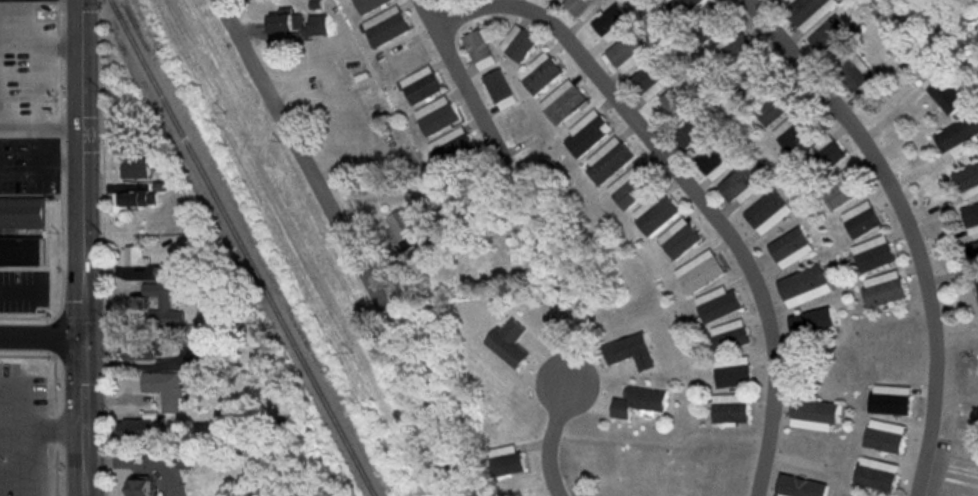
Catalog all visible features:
building: (781, 1)
road: (21, 3)
building: (367, 5)
road: (11, 6)
building: (682, 6)
building: (582, 8)
building: (810, 11)
building: (284, 23)
building: (611, 23)
building: (709, 23)
building: (384, 26)
building: (831, 38)
road: (60, 41)
building: (517, 44)
building: (732, 48)
building: (478, 50)
building: (628, 52)
road: (38, 63)
road: (456, 69)
building: (752, 73)
building: (539, 74)
building: (852, 74)
building: (651, 79)
building: (419, 85)
building: (498, 90)
building: (945, 94)
building: (680, 99)
building: (775, 102)
building: (563, 103)
building: (435, 117)
road: (41, 123)
building: (797, 128)
building: (695, 132)
building: (586, 133)
building: (957, 133)
road: (295, 139)
road: (39, 146)
building: (450, 149)
building: (821, 157)
building: (718, 158)
building: (608, 163)
road: (42, 167)
building: (134, 168)
building: (967, 180)
building: (741, 182)
road: (688, 184)
building: (631, 187)
building: (842, 189)
building: (135, 200)
building: (767, 212)
building: (654, 213)
building: (21, 214)
building: (971, 219)
building: (861, 220)
road: (910, 224)
building: (408, 238)
building: (678, 239)
road: (82, 247)
railway: (242, 248)
building: (790, 248)
building: (20, 251)
building: (873, 254)
building: (974, 254)
building: (134, 256)
building: (161, 272)
building: (699, 272)
building: (976, 285)
building: (803, 287)
building: (883, 290)
building: (161, 297)
building: (717, 305)
building: (810, 322)
building: (729, 336)
road: (42, 337)
building: (506, 345)
building: (139, 350)
building: (629, 352)
building: (200, 357)
building: (732, 372)
building: (164, 390)
building: (889, 401)
building: (637, 403)
building: (729, 409)
building: (814, 415)
road: (23, 426)
road: (11, 430)
building: (136, 430)
road: (550, 436)
building: (884, 437)
building: (503, 461)
road: (23, 463)
building: (876, 475)
road: (11, 478)
building: (140, 487)
building: (799, 487)

